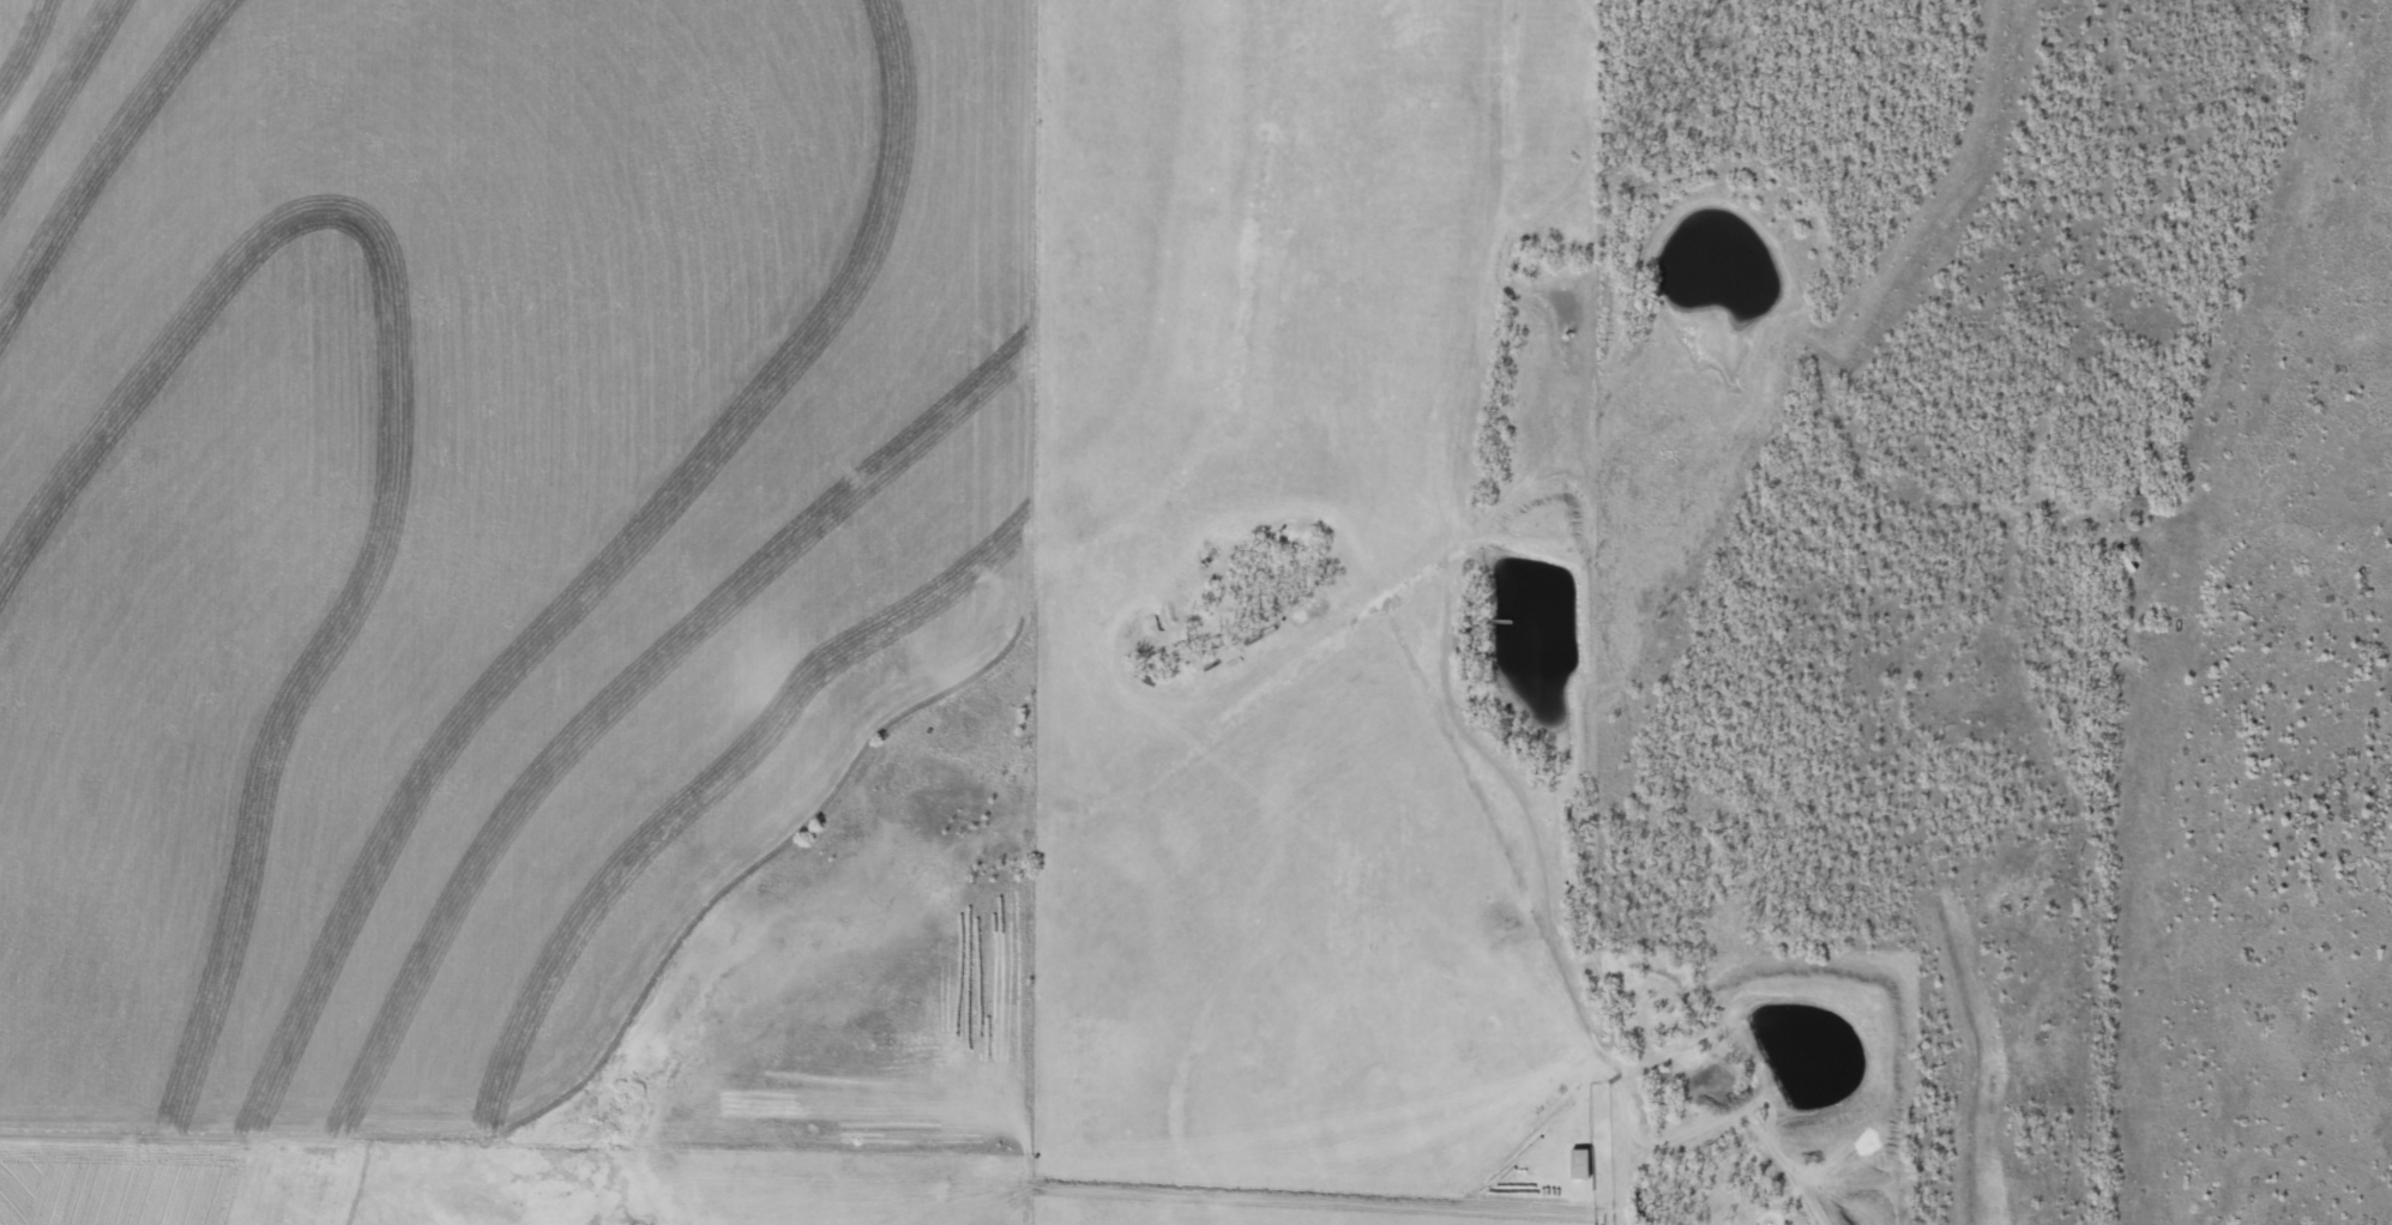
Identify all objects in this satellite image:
road: (2215, 318)

